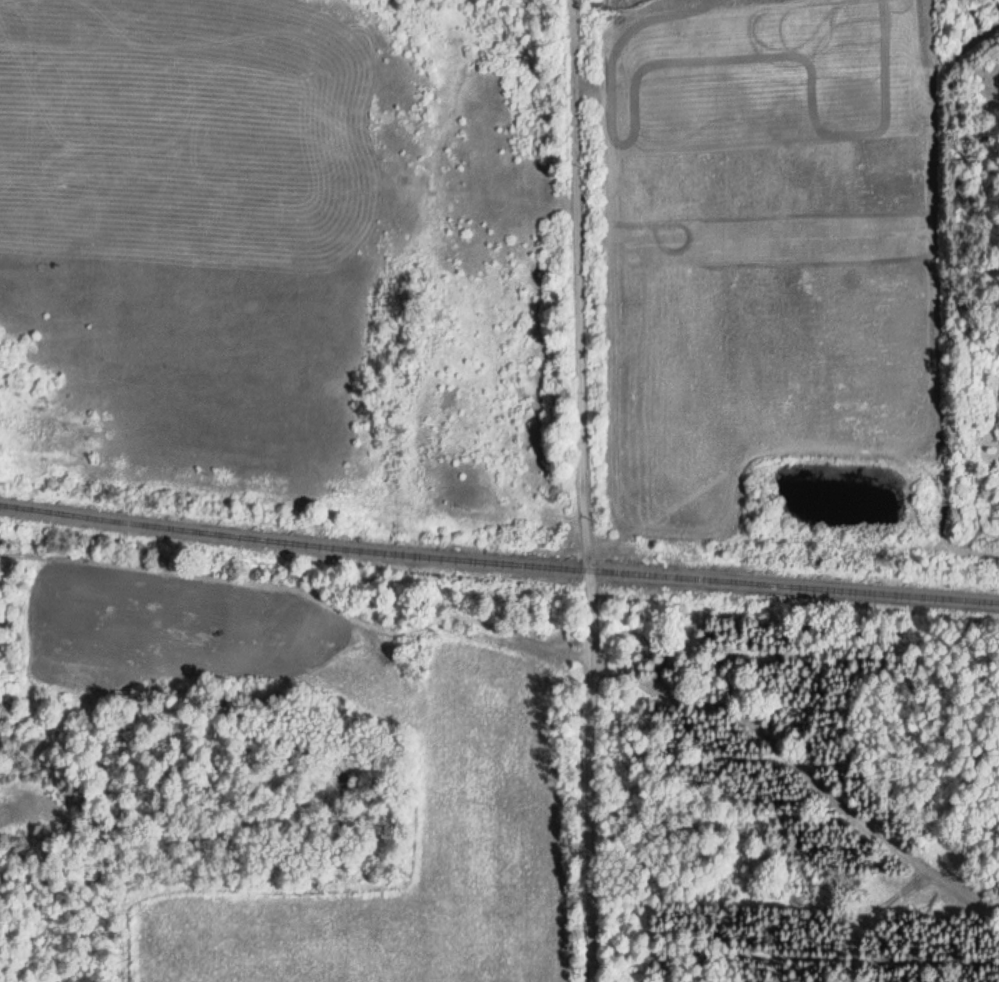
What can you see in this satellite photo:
road: (583, 490)
railway: (498, 553)

